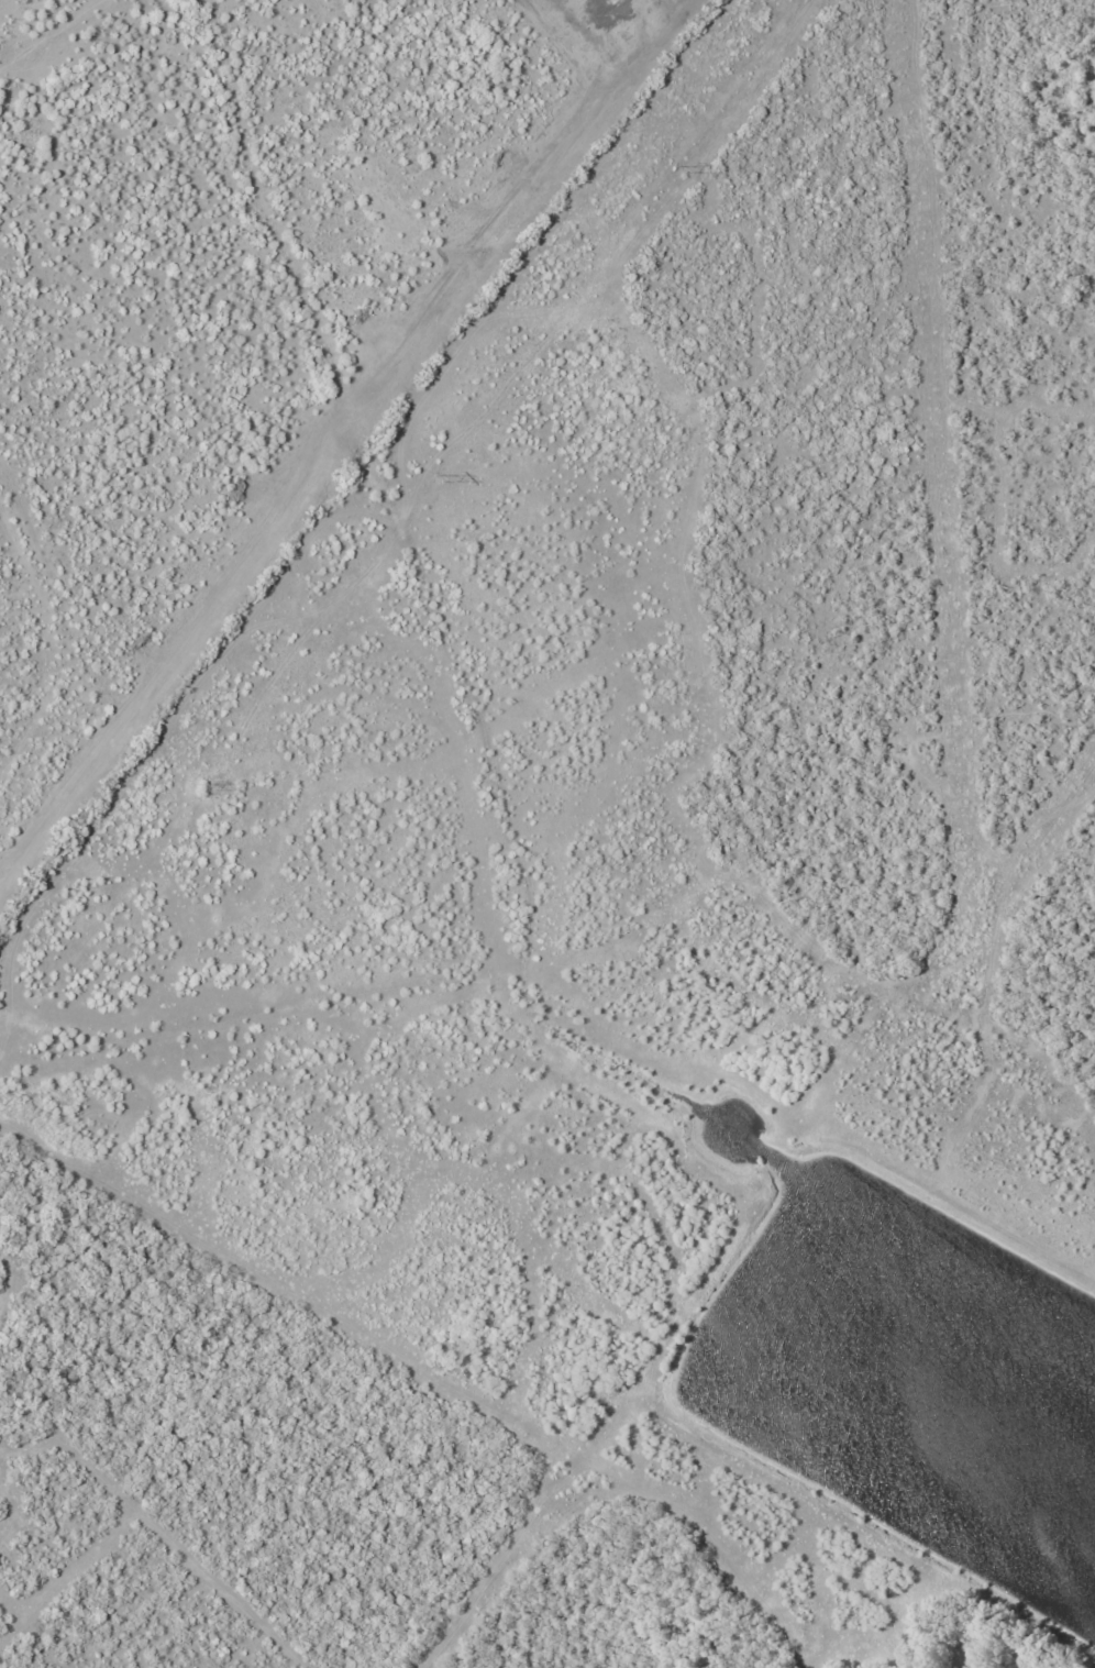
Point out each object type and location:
building: (622, 8)
power tower: (678, 168)
power tower: (439, 477)
power tower: (200, 786)

